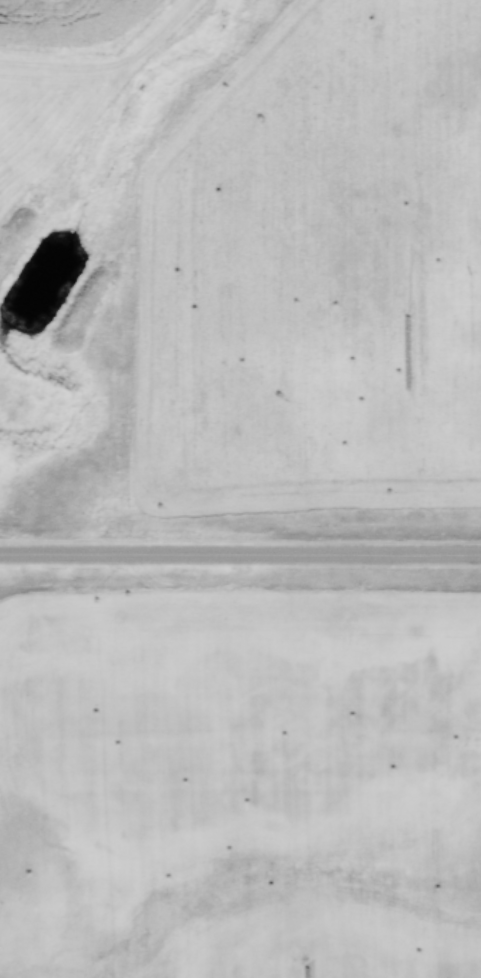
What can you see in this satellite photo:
road: (240, 549)

